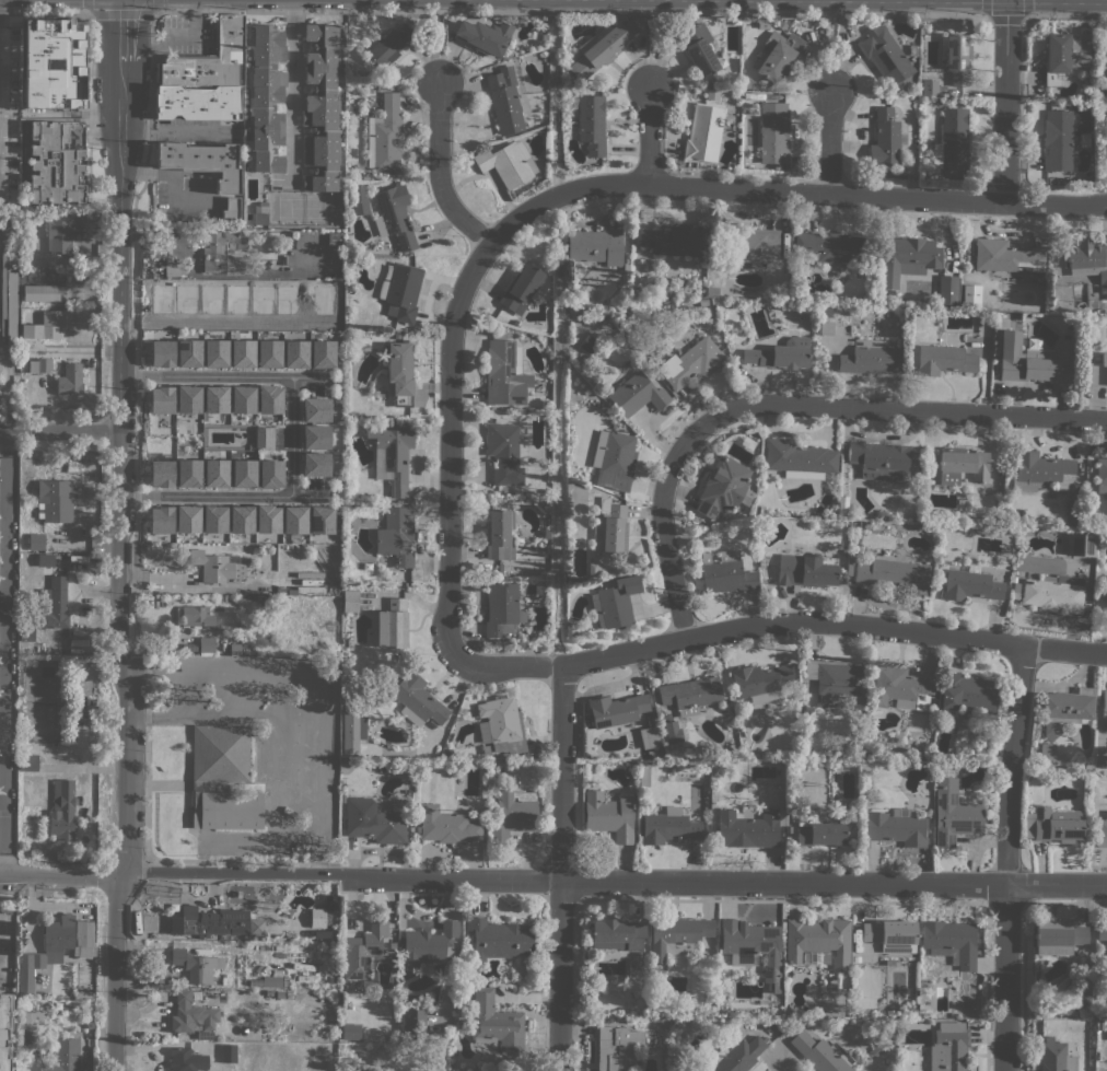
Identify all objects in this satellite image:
road: (987, 8)
road: (1025, 8)
road: (121, 11)
road: (473, 11)
road: (1065, 15)
road: (1005, 16)
building: (640, 19)
building: (764, 24)
building: (781, 24)
road: (121, 30)
building: (485, 36)
building: (544, 37)
building: (388, 44)
road: (439, 46)
building: (601, 48)
road: (650, 48)
building: (699, 48)
road: (830, 53)
building: (509, 55)
building: (778, 56)
building: (885, 56)
road: (90, 57)
building: (1063, 57)
building: (957, 58)
building: (209, 60)
building: (73, 63)
building: (1106, 72)
building: (1088, 78)
building: (710, 83)
building: (931, 86)
road: (292, 88)
road: (3, 89)
building: (266, 97)
building: (504, 101)
road: (1004, 101)
building: (197, 103)
building: (322, 107)
building: (592, 125)
building: (703, 132)
building: (773, 132)
road: (649, 133)
building: (385, 136)
building: (886, 138)
building: (952, 140)
building: (1058, 140)
road: (829, 142)
building: (57, 161)
building: (202, 162)
building: (508, 163)
road: (438, 172)
road: (789, 191)
building: (360, 200)
building: (231, 209)
building: (260, 213)
building: (395, 216)
building: (62, 232)
building: (334, 237)
building: (671, 240)
building: (756, 245)
building: (595, 246)
building: (831, 246)
building: (222, 252)
building: (1006, 255)
building: (907, 257)
building: (1089, 263)
building: (172, 269)
building: (714, 277)
building: (1041, 277)
building: (521, 289)
building: (400, 290)
building: (947, 290)
building: (712, 291)
building: (44, 292)
building: (969, 294)
building: (9, 299)
building: (184, 301)
building: (703, 301)
building: (824, 311)
building: (515, 322)
building: (44, 326)
building: (826, 328)
building: (590, 345)
building: (160, 351)
building: (188, 352)
building: (215, 353)
building: (243, 353)
building: (269, 353)
building: (296, 354)
building: (323, 354)
building: (781, 354)
building: (870, 358)
building: (943, 360)
building: (691, 363)
building: (0, 364)
building: (1042, 364)
building: (39, 365)
building: (399, 372)
building: (1096, 372)
building: (505, 373)
building: (70, 379)
building: (637, 393)
building: (161, 397)
building: (188, 397)
building: (215, 399)
building: (243, 399)
building: (269, 399)
road: (44, 403)
road: (893, 408)
building: (316, 410)
road: (60, 431)
road: (292, 435)
building: (263, 436)
road: (136, 438)
building: (316, 438)
road: (448, 444)
road: (3, 447)
building: (505, 453)
building: (392, 455)
building: (799, 458)
building: (879, 459)
building: (615, 461)
building: (929, 463)
building: (315, 464)
building: (963, 465)
road: (120, 468)
building: (1038, 470)
building: (188, 473)
building: (215, 473)
building: (244, 473)
building: (917, 473)
building: (161, 474)
building: (270, 474)
building: (1102, 474)
building: (722, 487)
road: (310, 493)
building: (56, 500)
road: (3, 508)
building: (841, 509)
building: (758, 510)
building: (187, 519)
building: (214, 519)
building: (268, 519)
building: (294, 519)
building: (161, 520)
building: (242, 520)
building: (321, 520)
building: (608, 527)
building: (546, 533)
building: (500, 534)
road: (663, 535)
building: (394, 536)
building: (36, 542)
building: (1081, 545)
building: (46, 559)
building: (850, 559)
building: (218, 567)
building: (592, 569)
building: (806, 569)
building: (725, 572)
building: (896, 572)
building: (842, 577)
building: (970, 584)
building: (299, 590)
building: (1053, 594)
building: (350, 601)
building: (615, 602)
building: (54, 604)
road: (3, 607)
building: (502, 609)
building: (196, 616)
road: (779, 621)
building: (392, 625)
building: (567, 629)
building: (26, 633)
building: (207, 645)
road: (7, 653)
building: (835, 679)
building: (759, 682)
building: (901, 687)
road: (179, 690)
building: (968, 692)
building: (689, 694)
road: (3, 700)
building: (417, 700)
building: (1104, 703)
building: (1068, 706)
building: (616, 709)
building: (501, 725)
building: (1048, 730)
building: (671, 731)
building: (982, 732)
building: (652, 736)
building: (1050, 756)
road: (318, 759)
building: (27, 761)
road: (1011, 764)
building: (846, 766)
building: (1087, 766)
building: (644, 777)
building: (223, 778)
building: (341, 798)
road: (3, 799)
building: (62, 810)
building: (954, 813)
building: (512, 814)
building: (609, 815)
building: (375, 820)
building: (1053, 824)
building: (446, 826)
building: (668, 826)
building: (896, 828)
building: (417, 829)
building: (747, 829)
building: (818, 830)
building: (1102, 831)
road: (316, 853)
road: (3, 855)
road: (561, 868)
road: (230, 871)
road: (61, 875)
road: (722, 881)
building: (317, 917)
building: (209, 921)
building: (256, 927)
building: (1102, 931)
building: (321, 934)
building: (618, 934)
building: (892, 934)
building: (1058, 936)
building: (498, 939)
building: (676, 939)
building: (818, 940)
building: (951, 942)
building: (430, 943)
building: (753, 947)
building: (56, 948)
building: (362, 951)
building: (857, 958)
building: (196, 965)
road: (116, 971)
road: (1004, 977)
building: (270, 980)
building: (82, 994)
building: (1084, 1001)
building: (191, 1014)
building: (31, 1018)
building: (497, 1021)
building: (412, 1023)
building: (90, 1026)
building: (5, 1027)
building: (283, 1028)
building: (351, 1032)
building: (26, 1033)
building: (617, 1047)
building: (948, 1047)
building: (874, 1051)
building: (821, 1052)
building: (229, 1053)
building: (736, 1055)
building: (65, 1056)
building: (1056, 1058)
building: (187, 1059)

